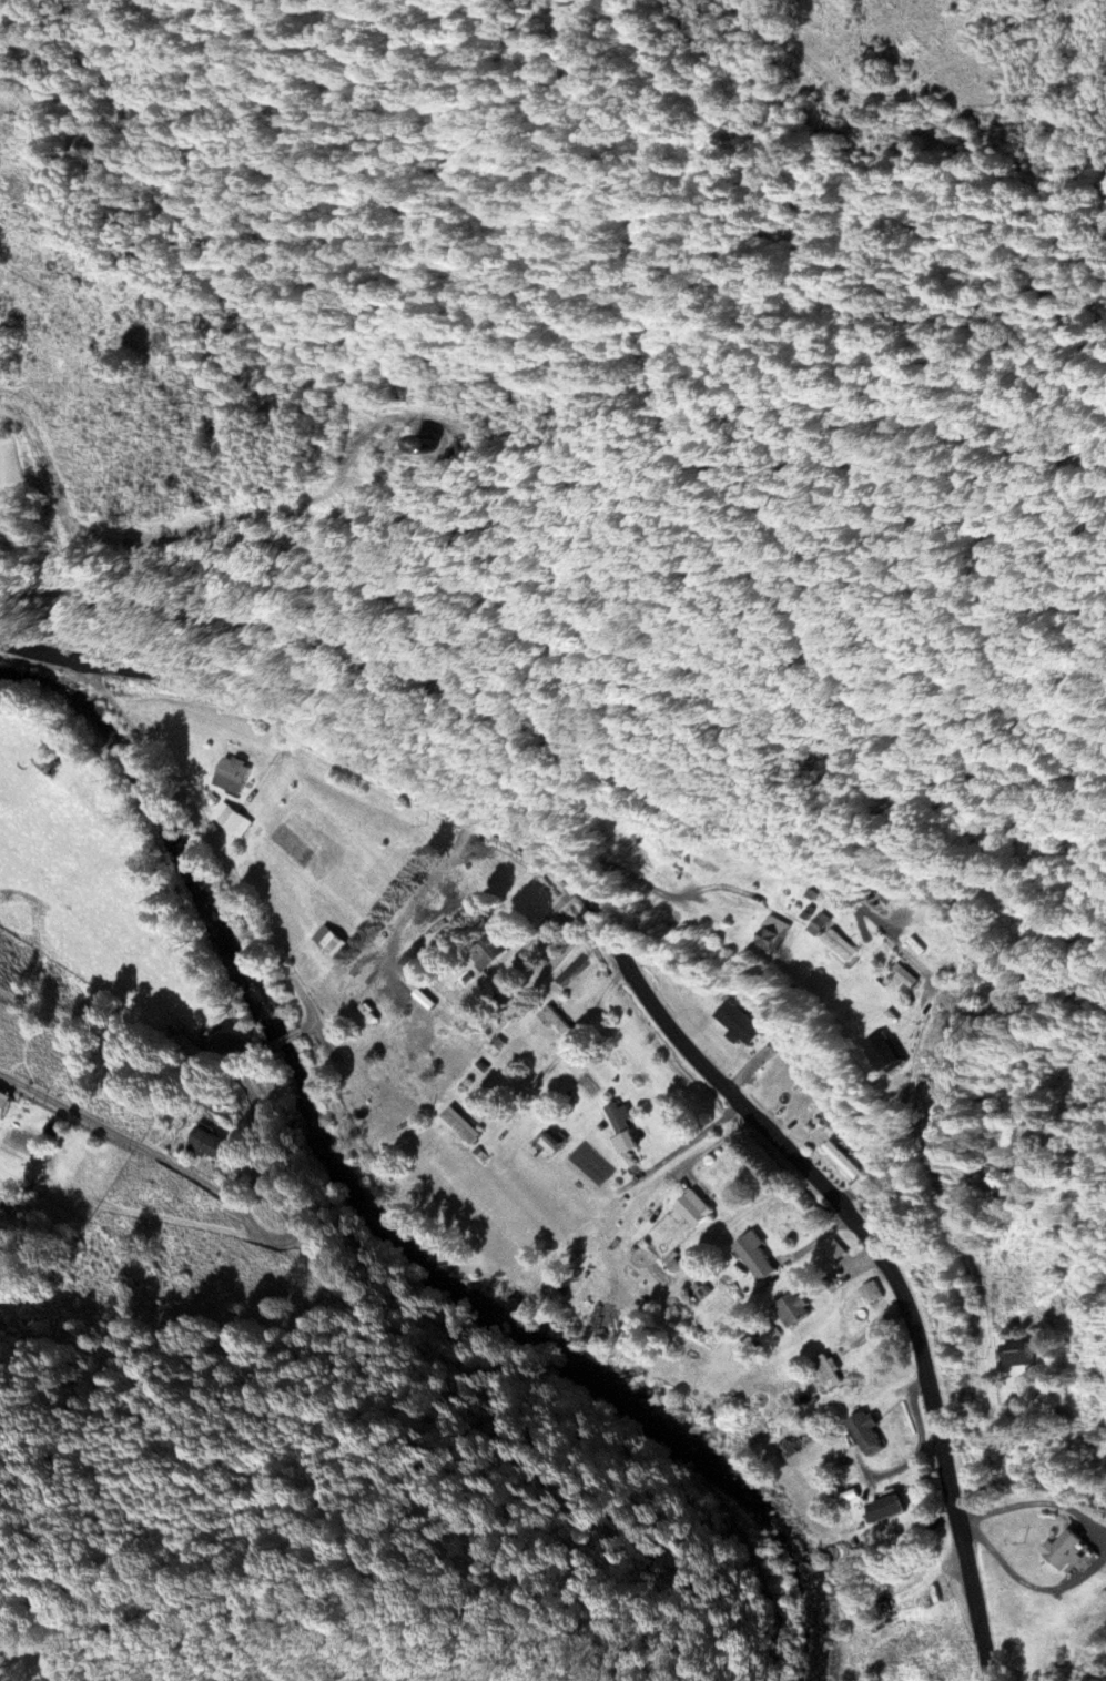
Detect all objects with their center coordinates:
road: (907, 72)
road: (346, 338)
building: (425, 445)
road: (191, 533)
building: (45, 761)
building: (232, 774)
building: (231, 820)
road: (210, 840)
building: (819, 924)
building: (773, 934)
building: (331, 942)
building: (840, 948)
building: (490, 950)
building: (905, 980)
road: (658, 1001)
building: (557, 1022)
building: (738, 1022)
road: (280, 1040)
building: (886, 1051)
building: (4, 1102)
building: (461, 1125)
building: (622, 1130)
building: (206, 1143)
building: (551, 1143)
building: (843, 1160)
building: (991, 1177)
building: (693, 1207)
river: (382, 1209)
road: (258, 1226)
building: (834, 1250)
building: (754, 1255)
building: (871, 1292)
building: (793, 1308)
building: (1018, 1354)
building: (829, 1370)
building: (867, 1432)
building: (886, 1507)
building: (1065, 1550)

